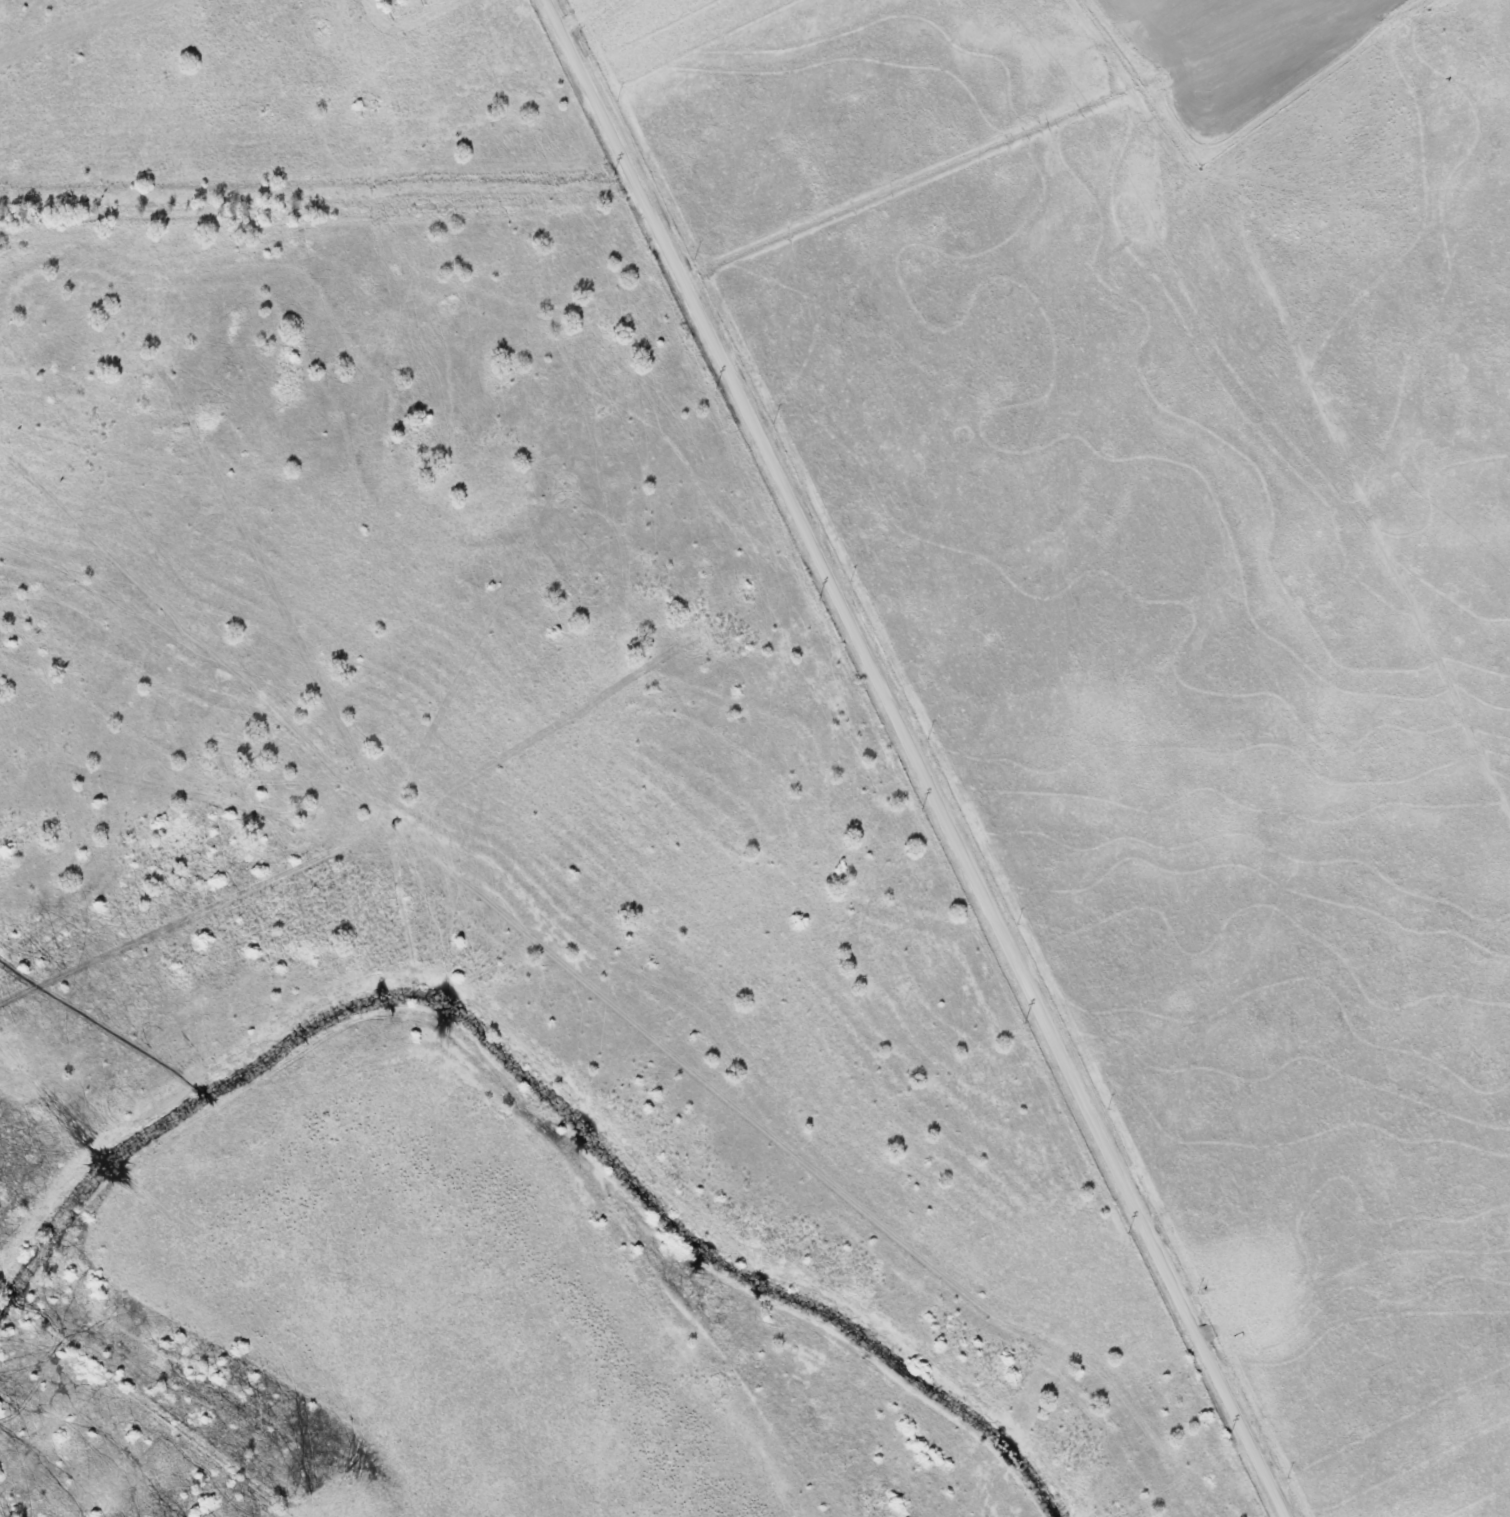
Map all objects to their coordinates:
road: (912, 758)

